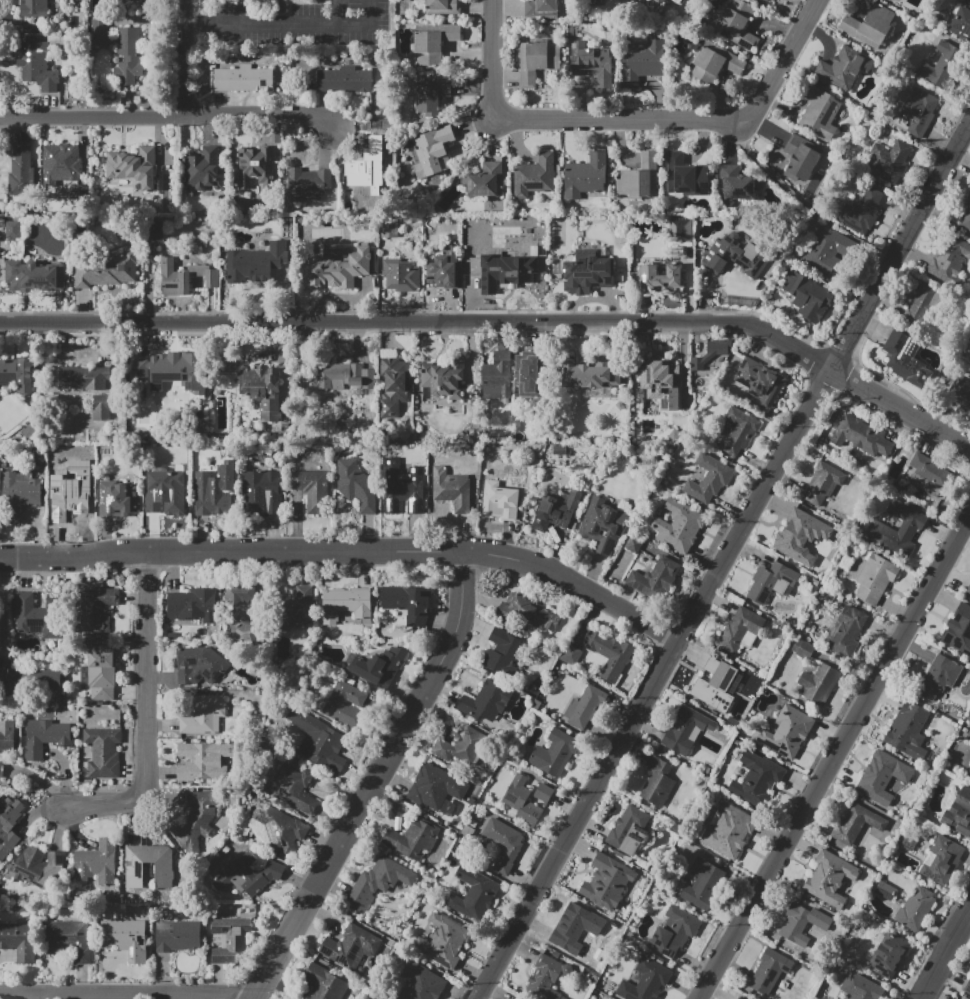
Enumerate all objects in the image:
building: (767, 0)
building: (892, 0)
building: (596, 2)
building: (657, 2)
building: (443, 7)
building: (35, 8)
building: (540, 9)
road: (337, 14)
building: (737, 21)
road: (194, 22)
building: (962, 22)
building: (869, 26)
road: (292, 28)
building: (99, 33)
building: (433, 43)
building: (129, 55)
road: (188, 59)
building: (537, 61)
building: (642, 62)
building: (591, 63)
building: (714, 63)
building: (36, 64)
building: (941, 64)
building: (844, 68)
building: (244, 79)
building: (344, 80)
building: (432, 95)
building: (819, 112)
building: (917, 112)
road: (629, 117)
road: (166, 118)
road: (474, 123)
building: (433, 151)
building: (62, 156)
building: (801, 158)
building: (369, 160)
building: (889, 160)
building: (134, 166)
building: (256, 166)
building: (205, 169)
building: (21, 172)
building: (685, 175)
building: (534, 176)
building: (585, 176)
building: (640, 177)
building: (486, 181)
building: (308, 184)
building: (735, 185)
building: (76, 191)
building: (546, 199)
road: (799, 201)
building: (865, 208)
building: (966, 215)
building: (388, 228)
building: (680, 229)
building: (13, 230)
building: (155, 232)
building: (255, 233)
building: (741, 236)
building: (261, 243)
building: (246, 246)
building: (825, 252)
building: (734, 256)
building: (182, 257)
building: (949, 259)
building: (257, 264)
building: (107, 270)
building: (337, 270)
building: (444, 270)
building: (504, 271)
building: (587, 272)
building: (401, 275)
building: (33, 276)
building: (186, 278)
building: (662, 278)
building: (806, 295)
building: (919, 301)
road: (501, 322)
building: (711, 352)
building: (905, 358)
building: (138, 368)
building: (17, 373)
building: (529, 373)
building: (591, 373)
building: (169, 375)
building: (498, 376)
building: (84, 377)
building: (346, 377)
building: (442, 380)
building: (259, 381)
building: (660, 383)
building: (759, 383)
building: (394, 388)
building: (960, 392)
building: (101, 407)
building: (738, 432)
building: (861, 436)
building: (929, 474)
building: (709, 480)
building: (824, 484)
building: (167, 486)
building: (356, 486)
building: (405, 486)
building: (216, 489)
building: (315, 489)
building: (452, 489)
building: (263, 491)
building: (19, 496)
building: (115, 498)
building: (68, 500)
building: (499, 501)
building: (556, 510)
building: (602, 525)
building: (912, 525)
building: (678, 526)
building: (799, 535)
building: (632, 542)
road: (349, 552)
road: (723, 559)
building: (875, 578)
building: (655, 579)
building: (771, 582)
building: (968, 589)
building: (239, 598)
building: (407, 599)
building: (193, 604)
building: (346, 604)
building: (295, 608)
road: (1, 609)
building: (96, 611)
building: (528, 612)
building: (37, 617)
road: (586, 622)
building: (304, 627)
building: (959, 630)
building: (740, 631)
building: (846, 632)
building: (802, 649)
building: (503, 652)
building: (569, 654)
building: (610, 654)
building: (202, 663)
building: (379, 667)
building: (100, 670)
building: (939, 676)
building: (28, 679)
building: (711, 681)
building: (819, 684)
building: (485, 701)
building: (345, 704)
building: (585, 706)
road: (147, 713)
building: (204, 715)
building: (686, 730)
building: (909, 731)
building: (786, 732)
building: (968, 736)
building: (45, 737)
building: (6, 741)
building: (318, 741)
building: (462, 748)
building: (103, 752)
building: (555, 753)
road: (833, 756)
building: (203, 761)
building: (969, 774)
building: (756, 778)
building: (881, 778)
road: (374, 780)
building: (658, 782)
building: (436, 786)
building: (295, 788)
building: (543, 793)
building: (521, 800)
building: (958, 814)
building: (197, 817)
building: (9, 825)
building: (854, 826)
building: (280, 827)
building: (629, 830)
building: (730, 832)
building: (412, 839)
building: (504, 844)
building: (942, 861)
building: (148, 862)
building: (96, 864)
building: (36, 866)
building: (599, 874)
building: (248, 876)
building: (830, 879)
building: (378, 882)
building: (703, 884)
building: (473, 893)
building: (915, 909)
building: (802, 924)
building: (577, 927)
building: (674, 931)
building: (177, 936)
building: (126, 938)
building: (70, 939)
building: (230, 939)
building: (20, 940)
building: (443, 941)
building: (351, 946)
building: (889, 955)
road: (946, 956)
building: (769, 971)
building: (546, 978)
building: (645, 981)
building: (327, 983)
building: (428, 986)
building: (861, 987)
building: (967, 988)
road: (127, 997)
building: (738, 998)
building: (836, 998)
building: (837, 998)
building: (961, 998)

